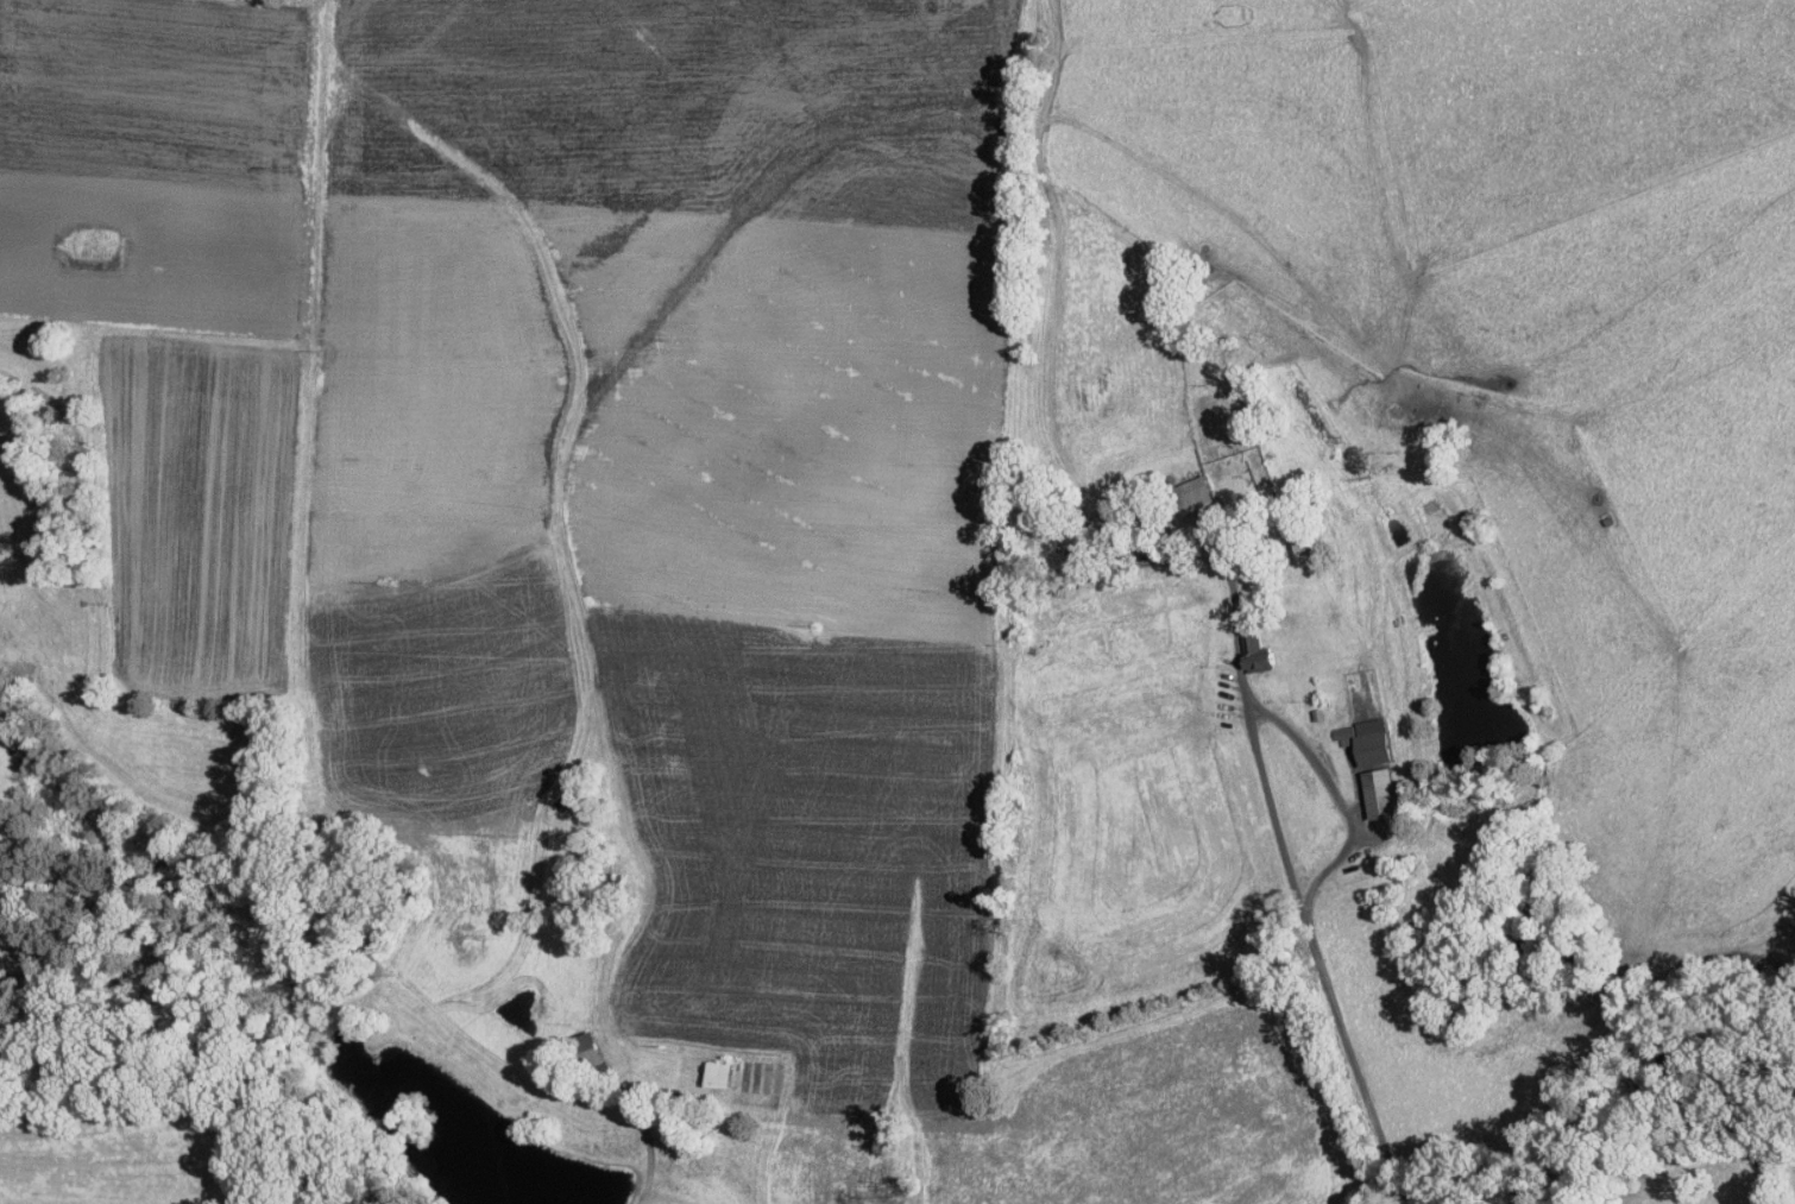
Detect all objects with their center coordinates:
building: (1183, 486)
road: (1222, 561)
building: (1245, 645)
building: (1354, 732)
building: (1368, 784)
building: (578, 1040)
building: (706, 1065)

